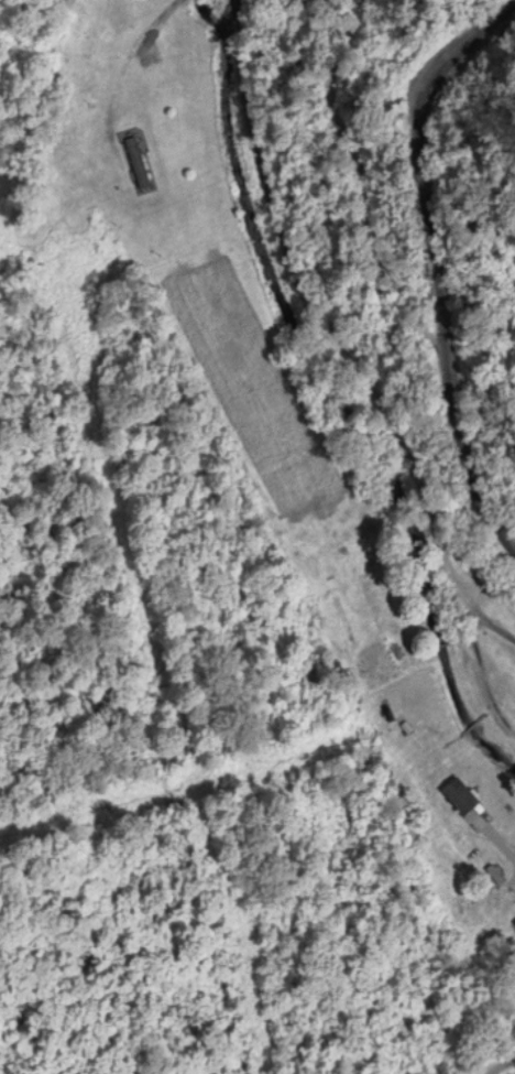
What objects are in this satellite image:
road: (338, 108)
building: (136, 165)
road: (270, 173)
road: (445, 268)
road: (423, 493)
building: (358, 535)
building: (384, 665)
road: (484, 679)
building: (430, 758)
building: (458, 798)
road: (502, 1066)

